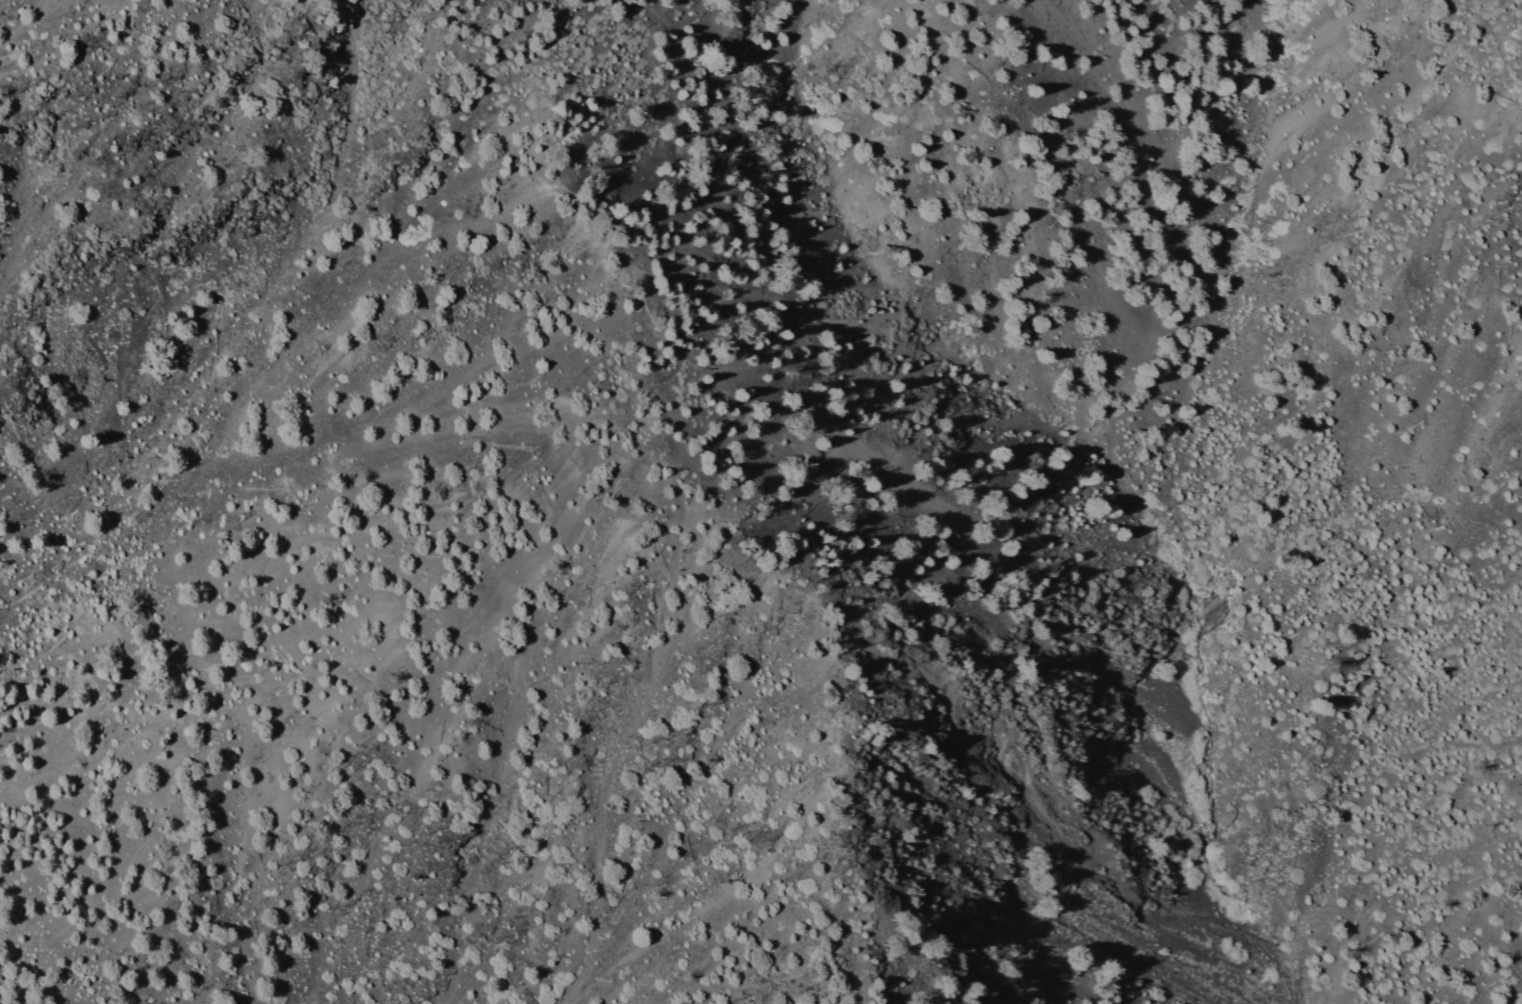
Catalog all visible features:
road: (717, 508)
road: (7, 990)

